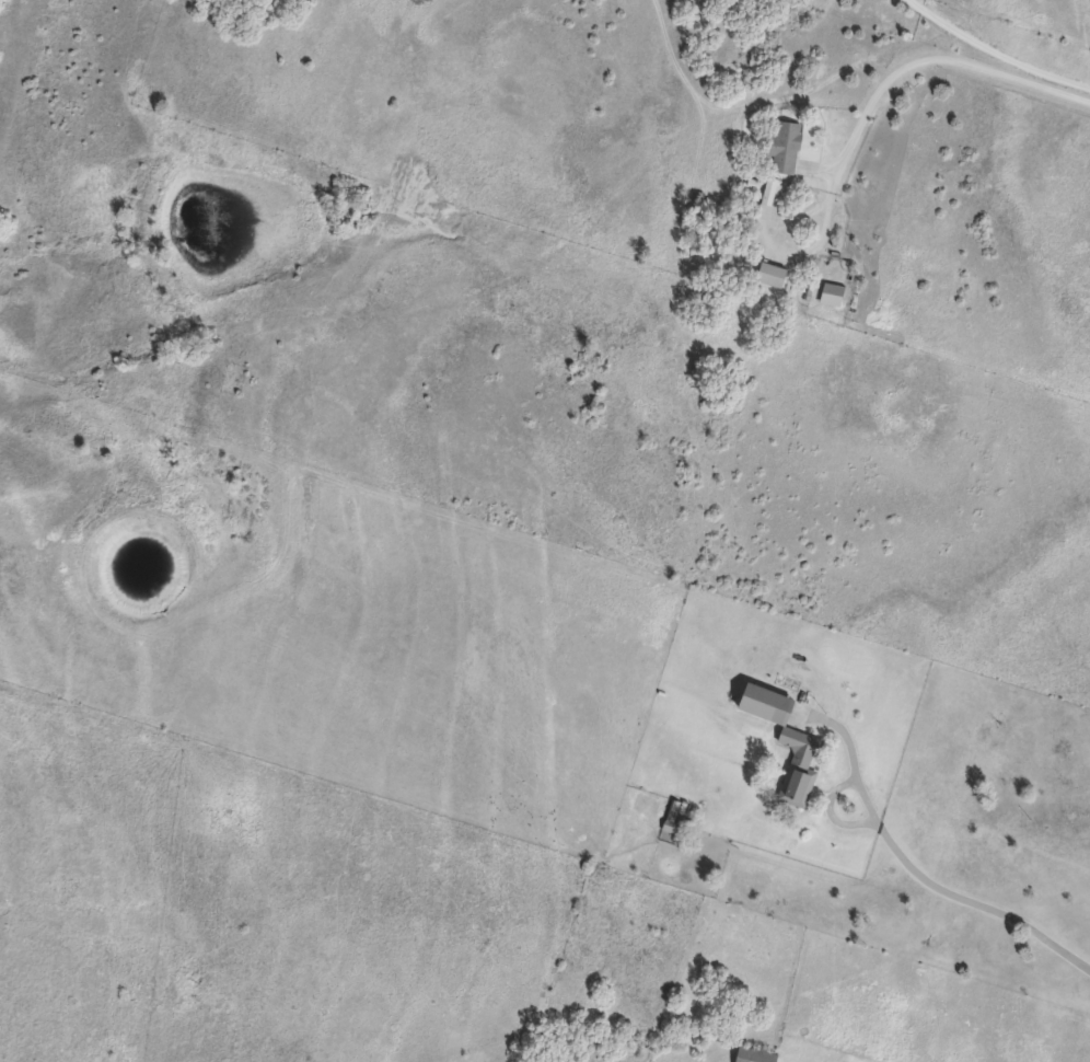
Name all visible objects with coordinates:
road: (995, 51)
road: (877, 85)
building: (787, 148)
building: (770, 275)
building: (830, 295)
building: (785, 736)
road: (971, 901)
building: (753, 1055)

